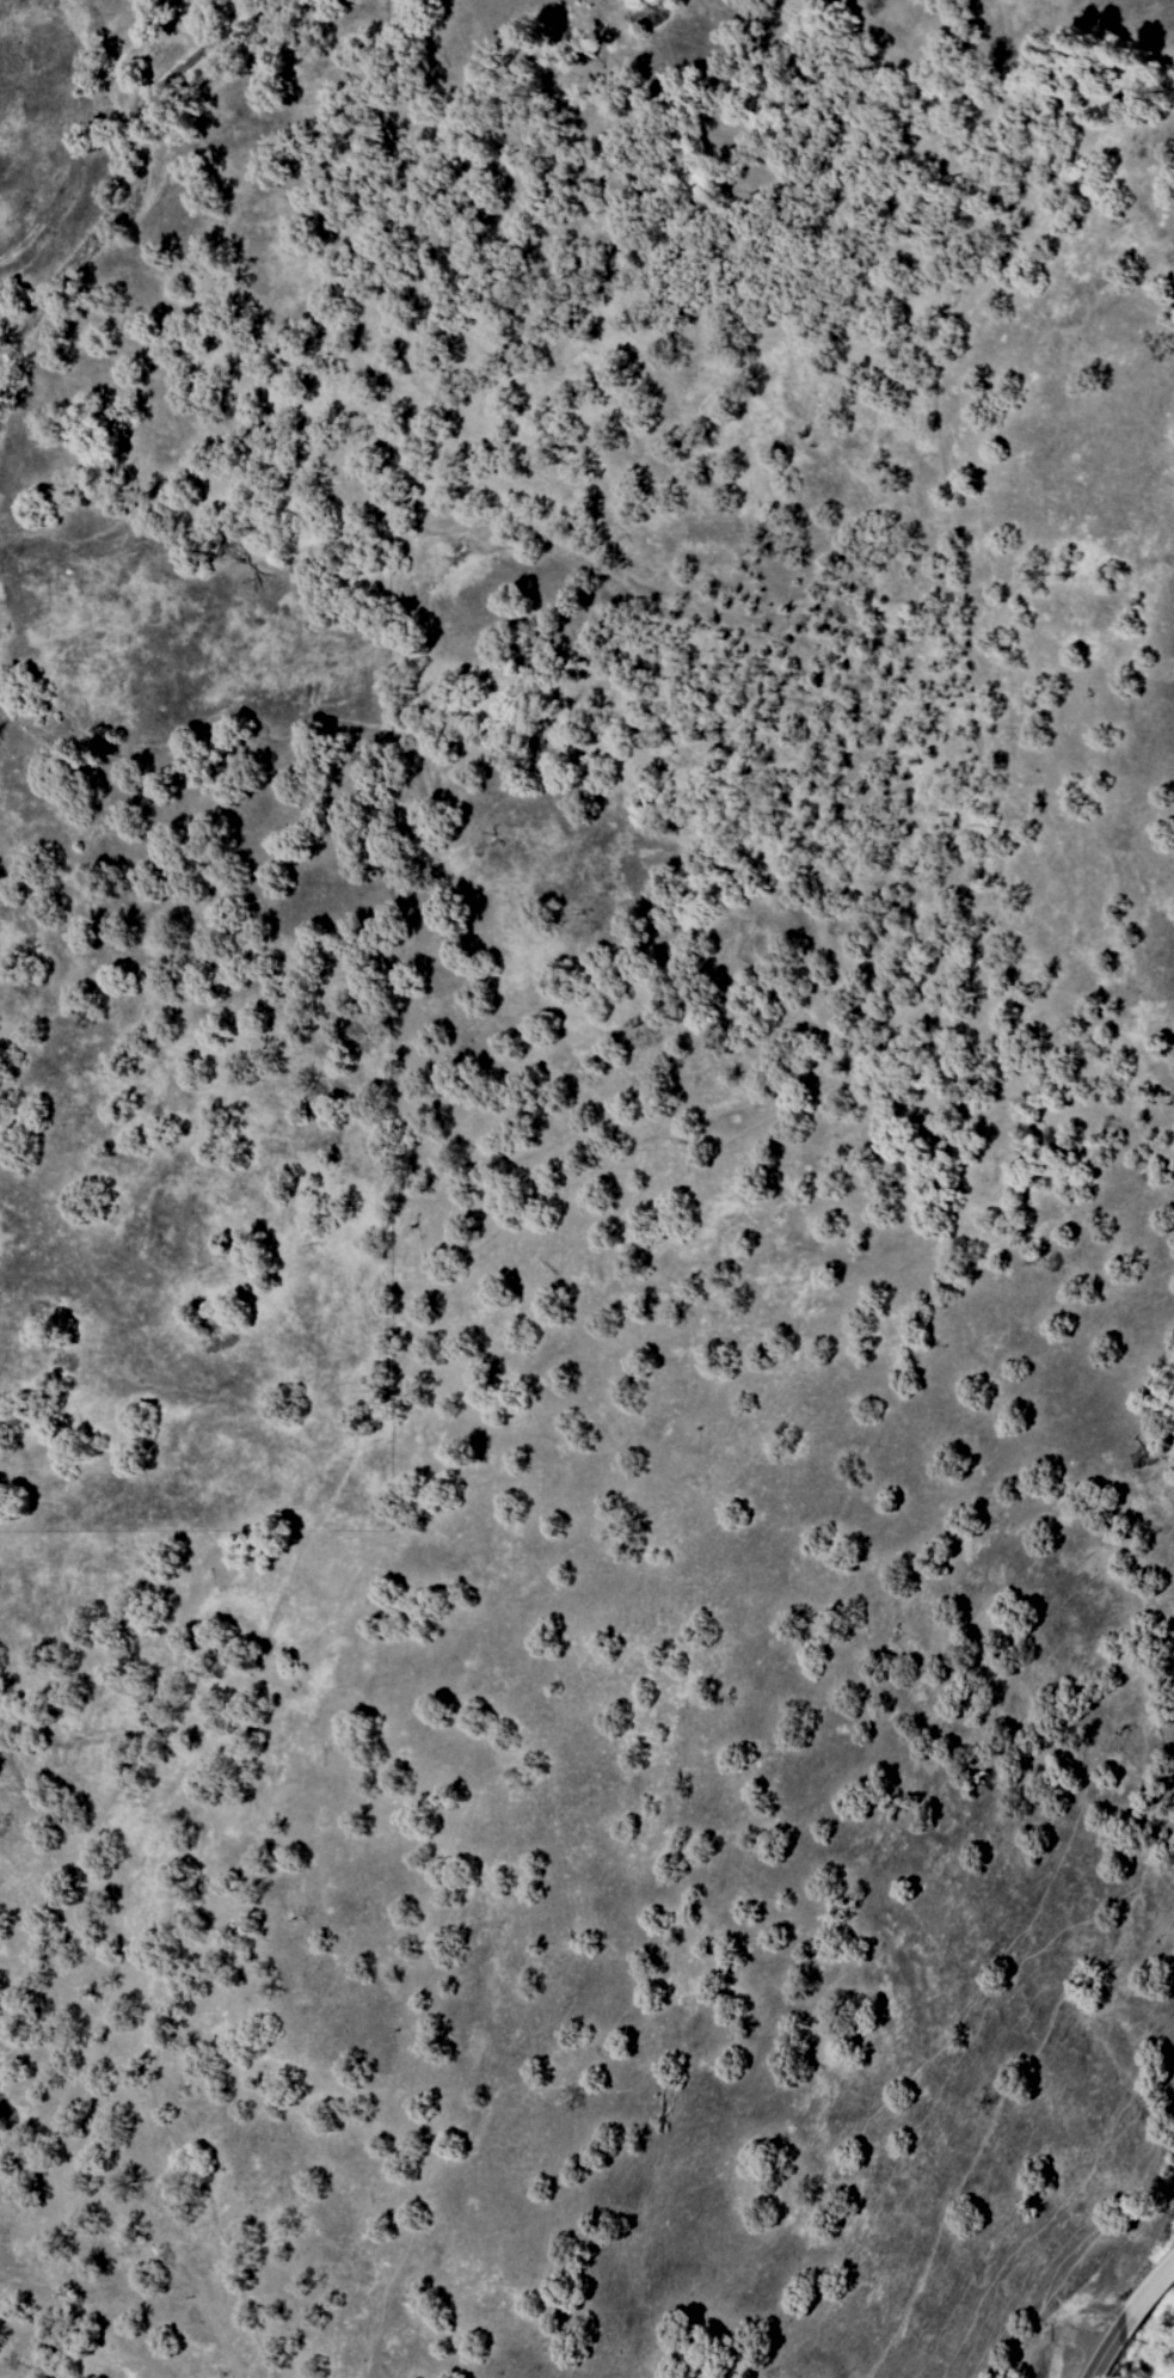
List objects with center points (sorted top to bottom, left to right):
road: (1132, 2319)

